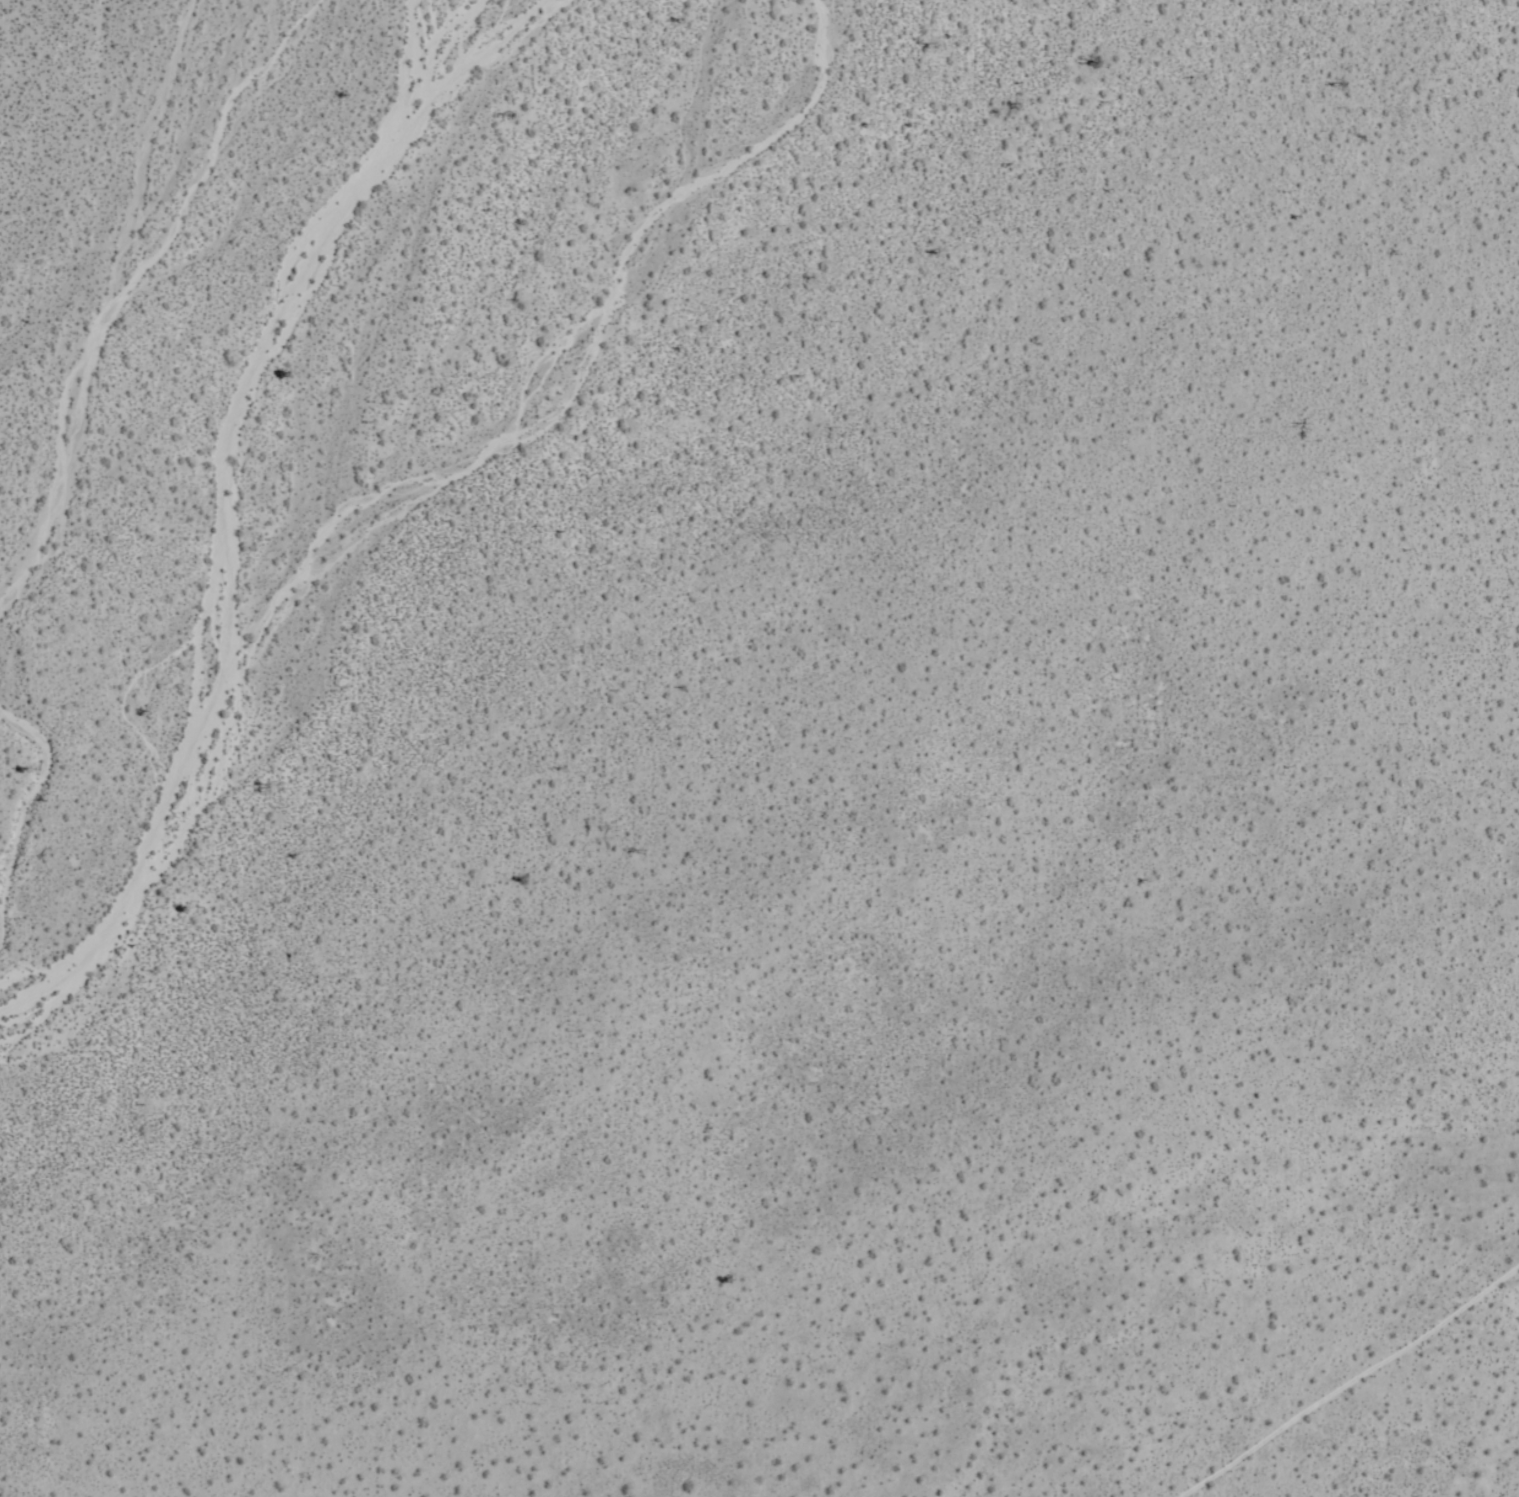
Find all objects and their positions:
road: (1347, 1381)

